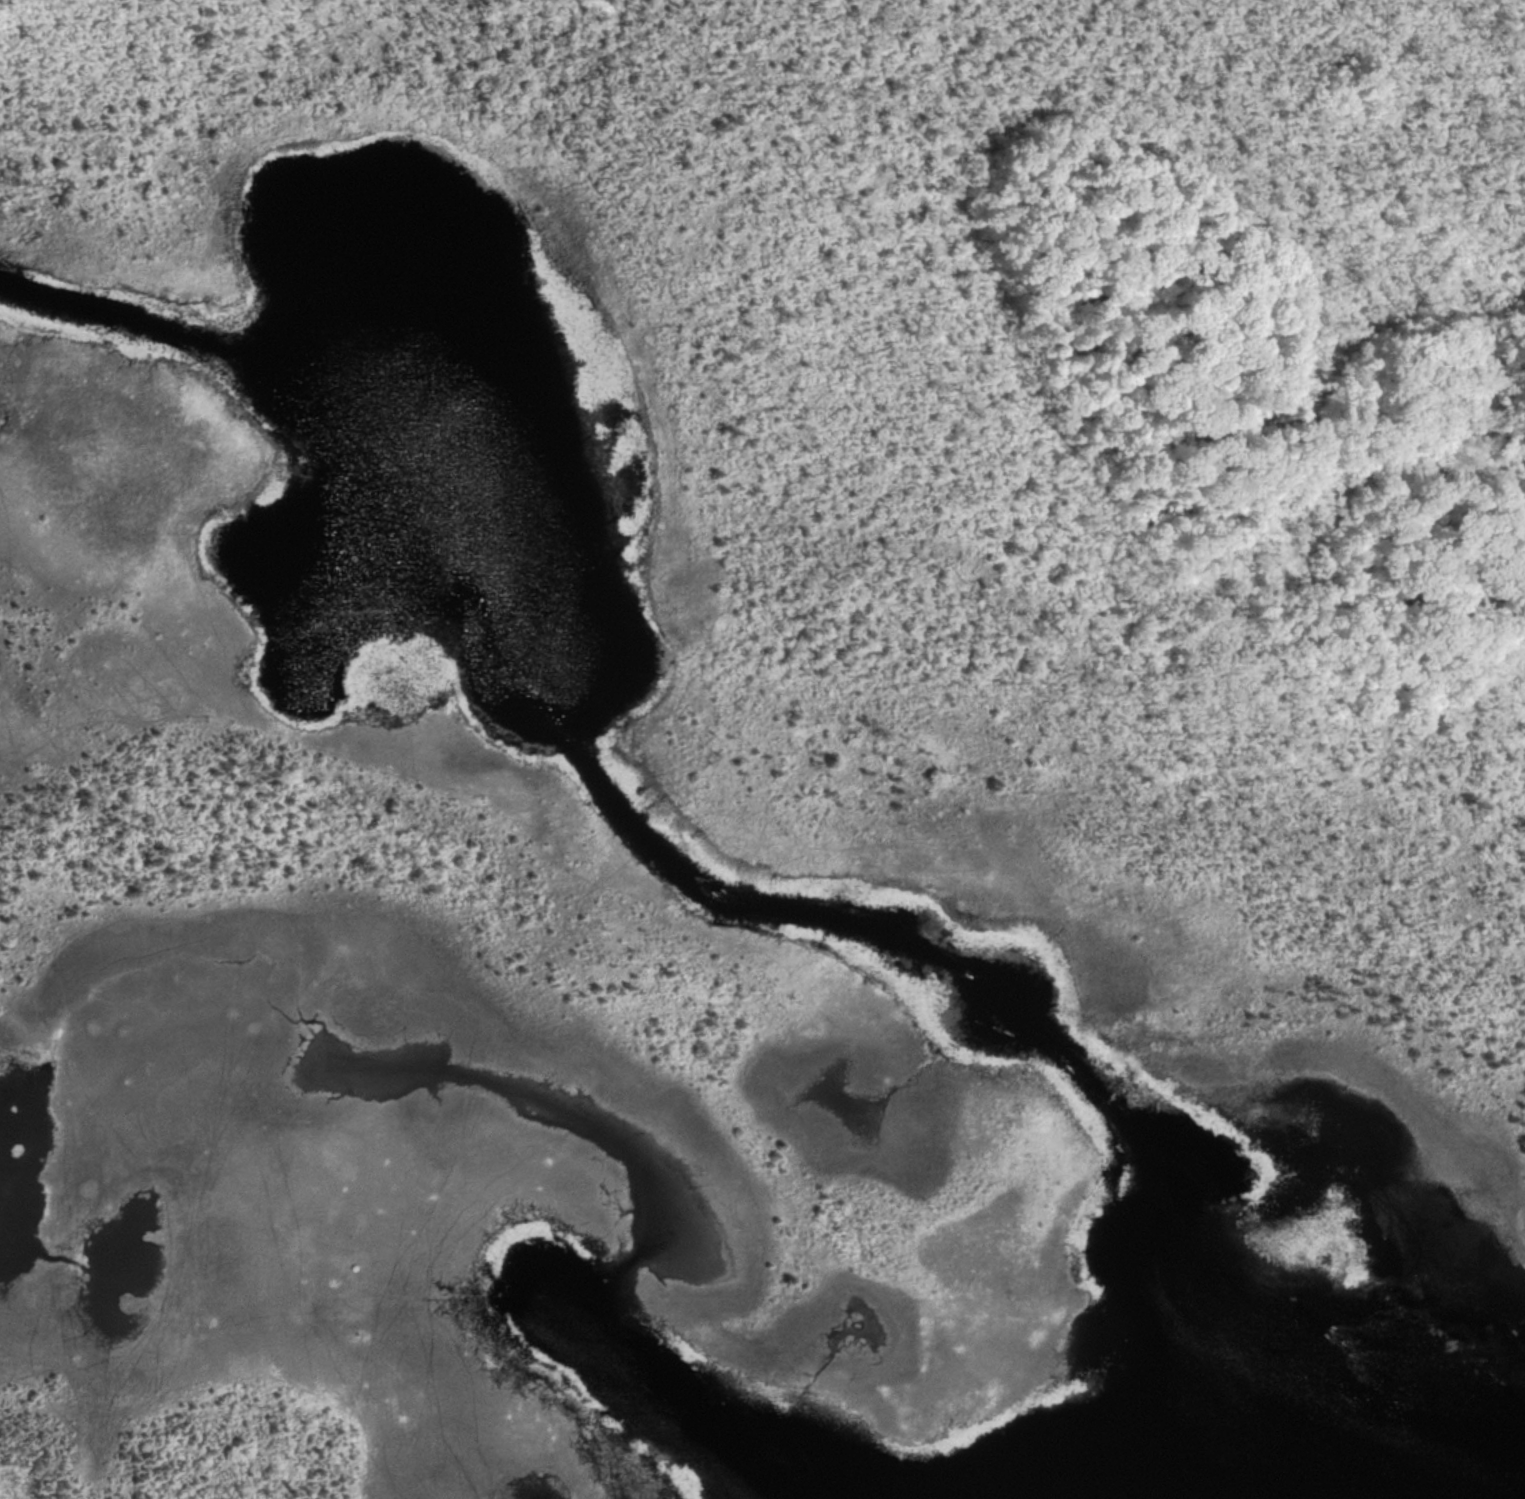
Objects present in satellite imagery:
road: (297, 47)
river: (101, 318)
park: (762, 749)
river: (853, 925)

